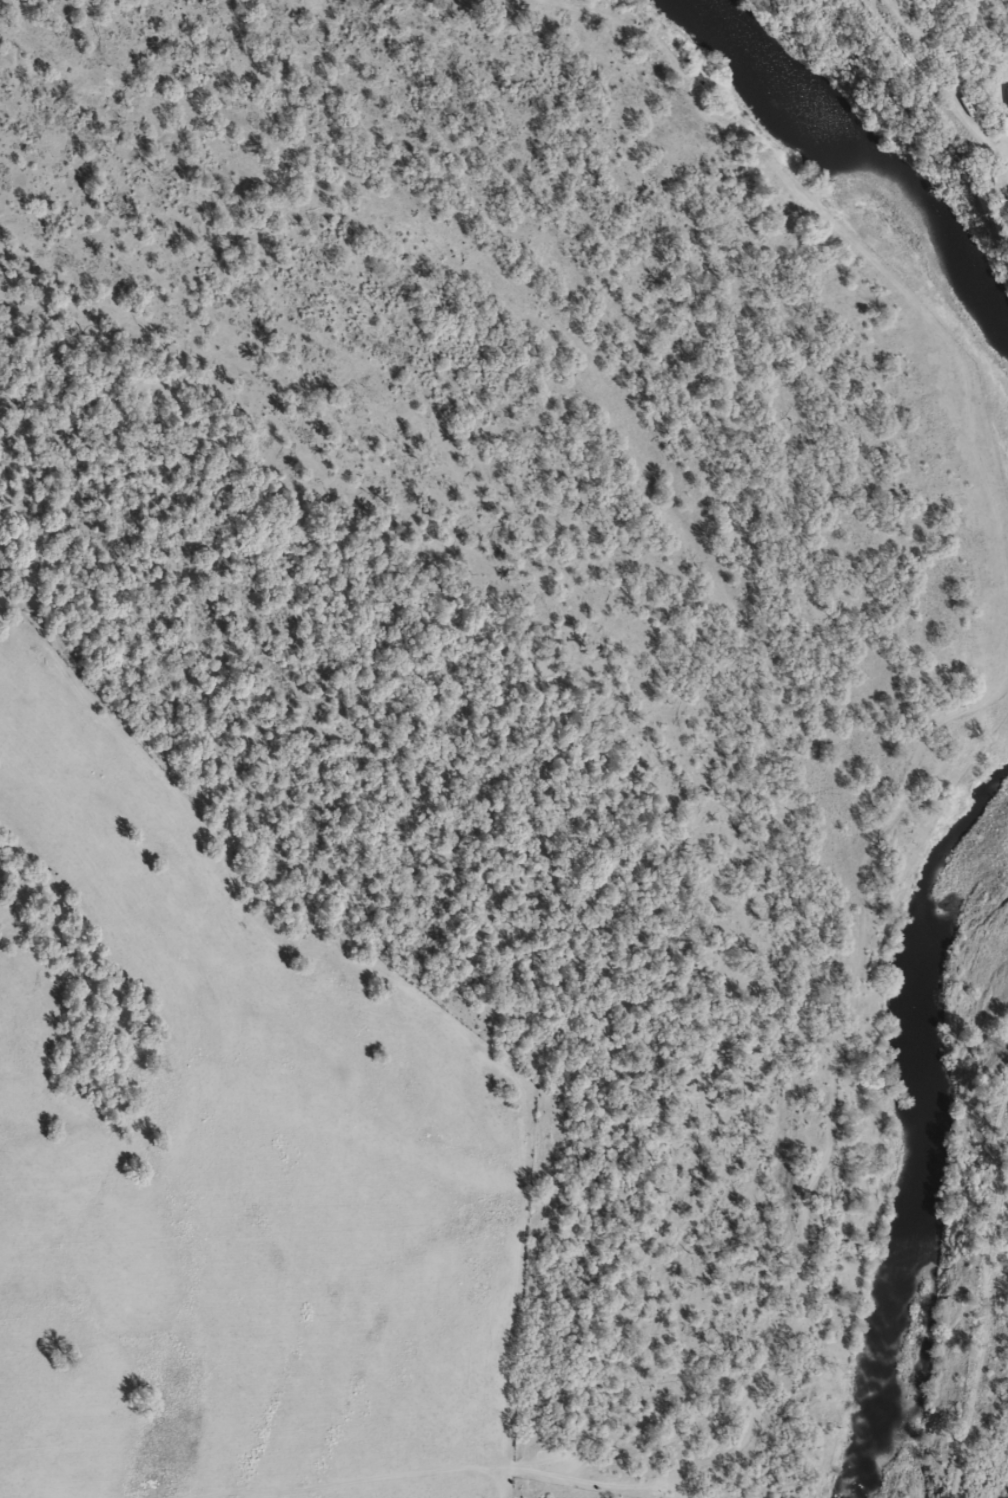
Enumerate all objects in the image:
river: (854, 151)
river: (923, 1140)

